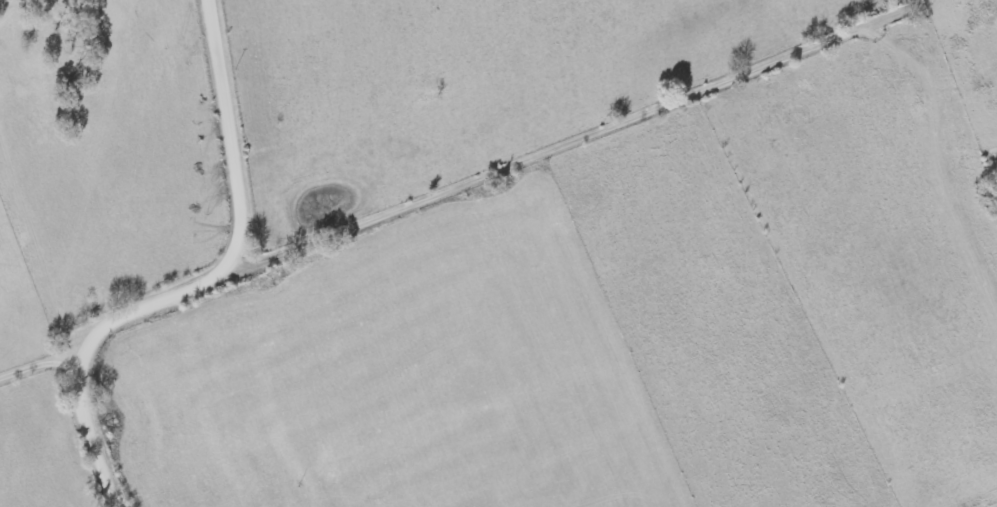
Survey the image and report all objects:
road: (565, 144)
road: (197, 282)
road: (37, 363)

